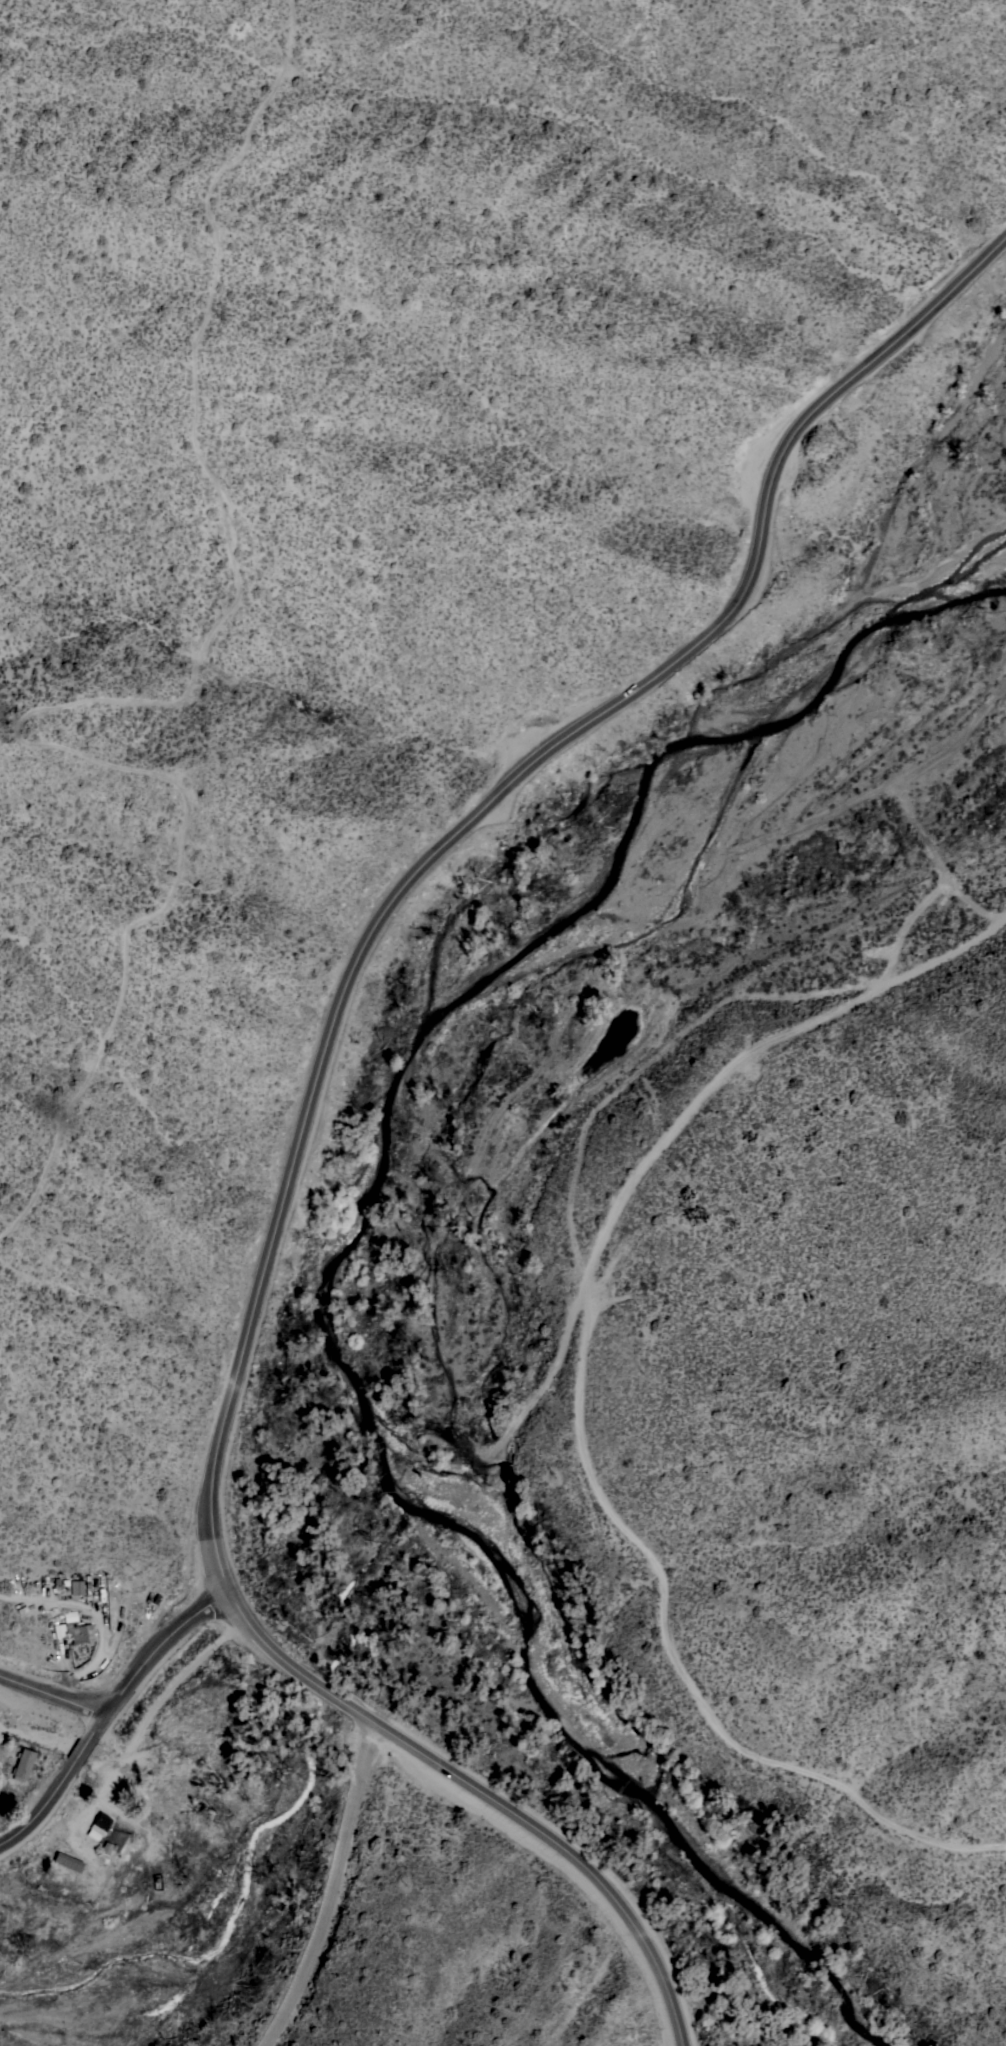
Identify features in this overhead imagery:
road: (312, 1112)
road: (554, 1378)
road: (583, 1401)
building: (87, 1586)
building: (77, 1587)
building: (73, 1628)
road: (162, 1642)
road: (54, 1694)
building: (23, 1764)
road: (63, 1786)
building: (101, 1821)
building: (108, 1848)
building: (68, 1861)
road: (335, 1882)

